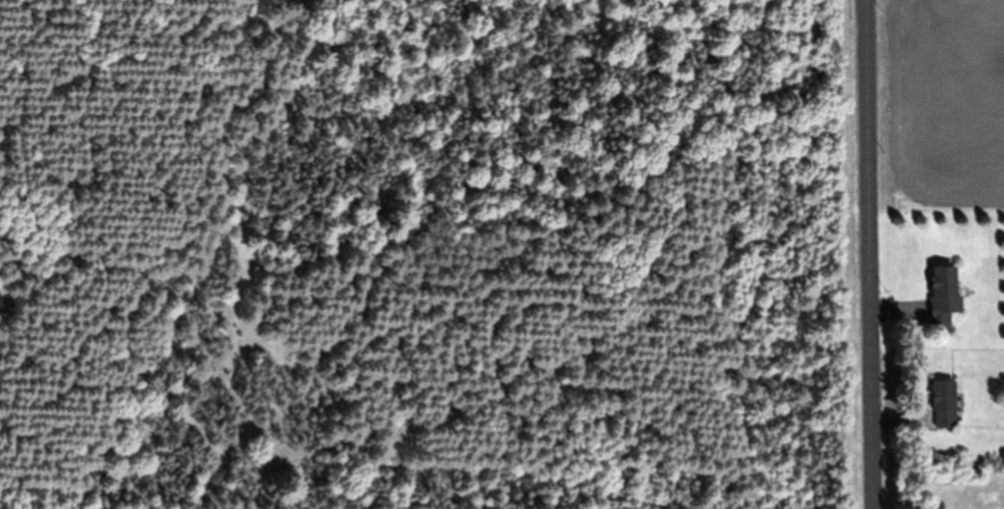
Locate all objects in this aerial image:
crop: (960, 109)
road: (867, 254)
building: (943, 294)
building: (943, 405)

